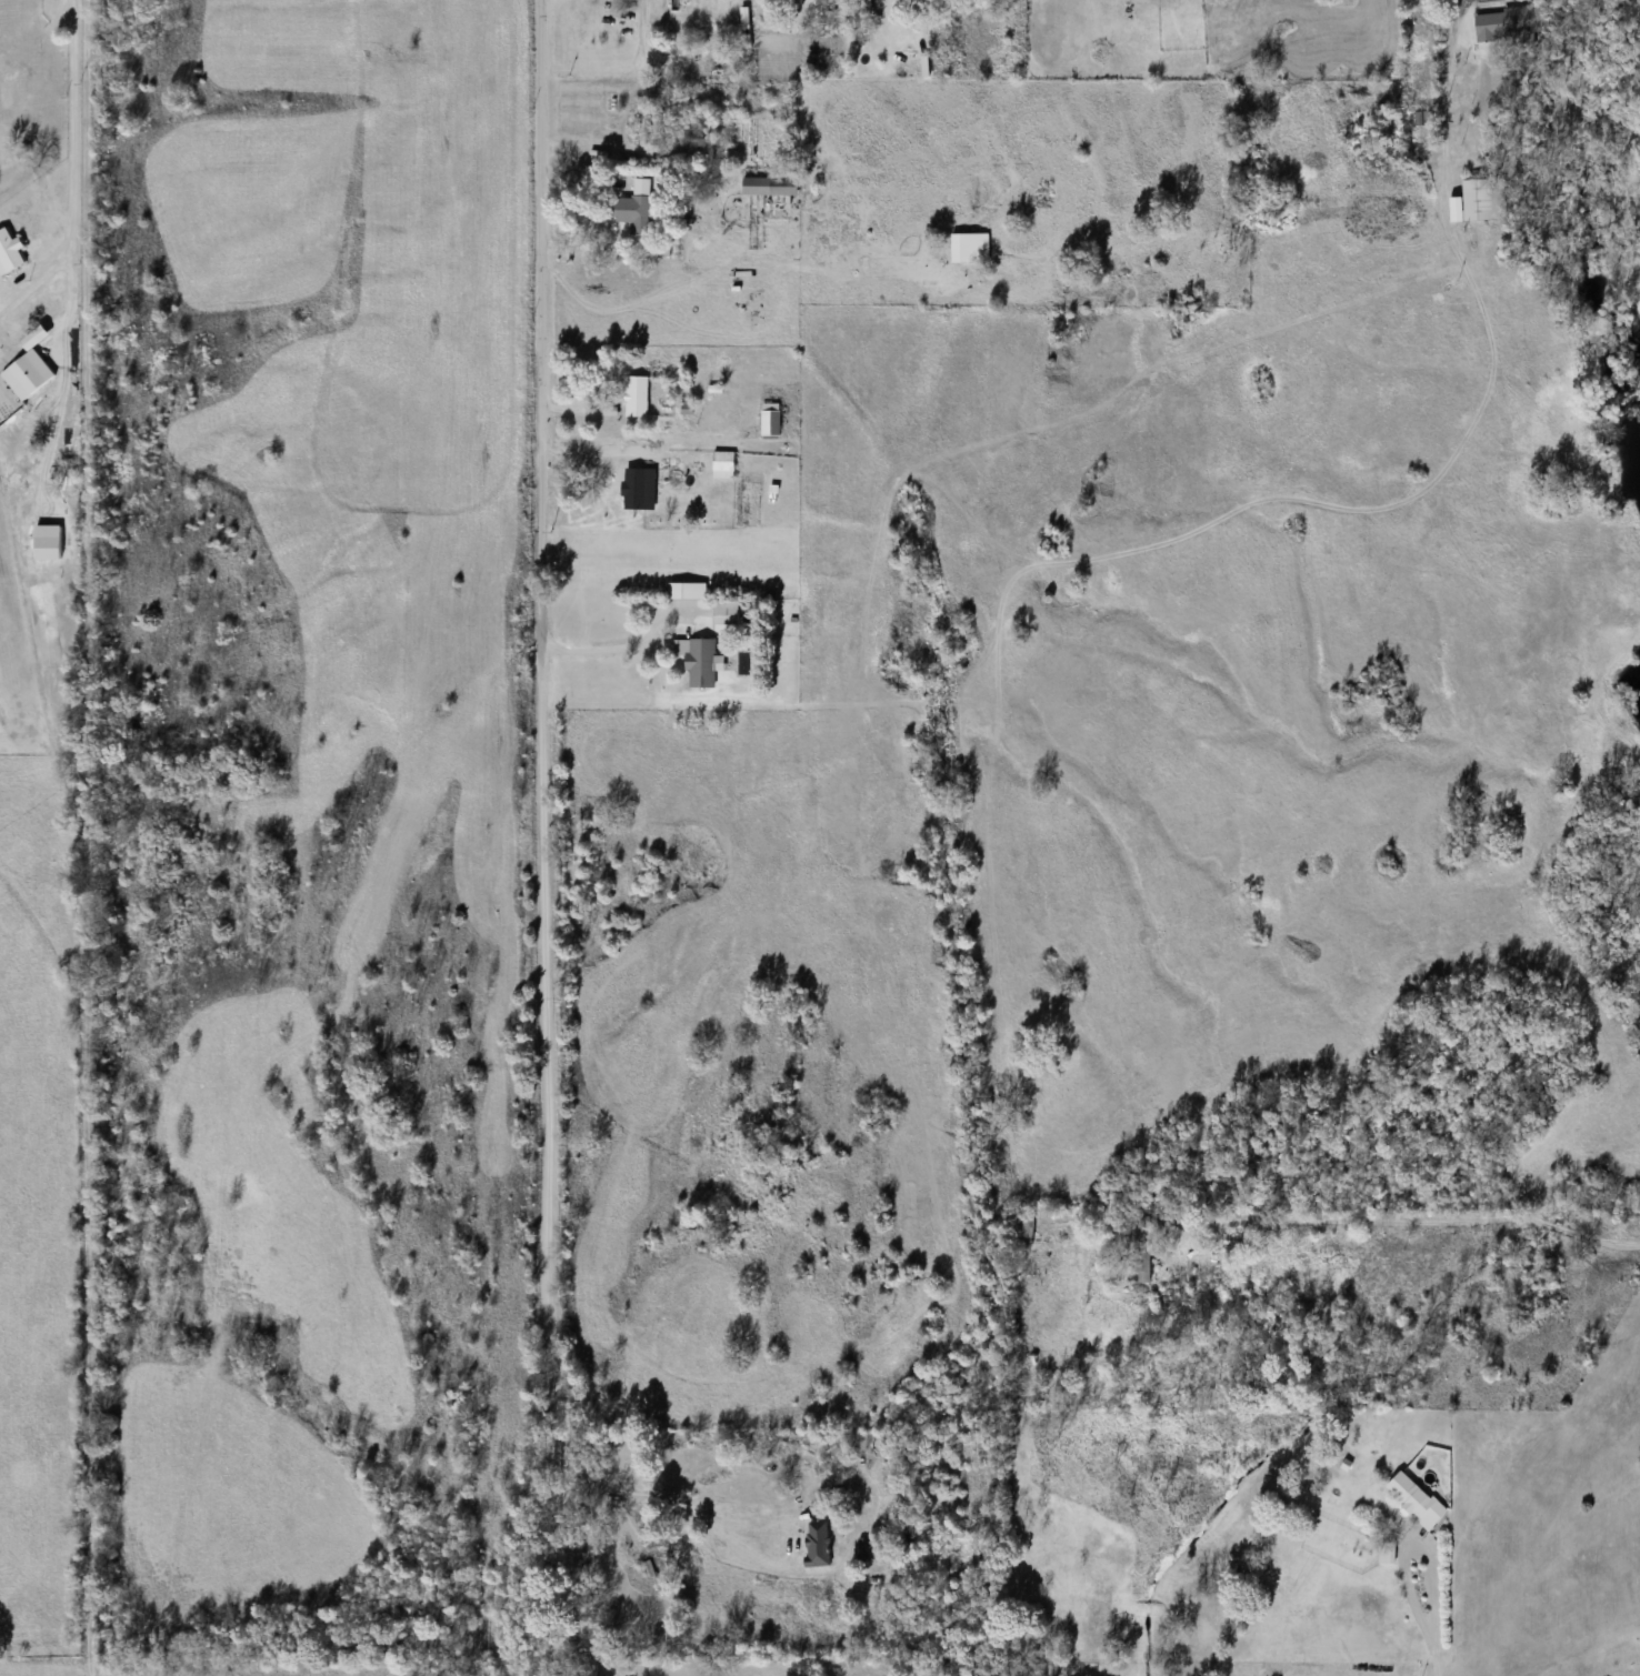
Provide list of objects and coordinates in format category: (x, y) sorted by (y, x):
building: (862, 9)
building: (1506, 24)
building: (1424, 119)
building: (699, 149)
building: (770, 185)
building: (1477, 201)
building: (637, 209)
building: (10, 253)
building: (27, 374)
building: (637, 397)
building: (770, 420)
building: (723, 464)
building: (634, 488)
building: (687, 591)
building: (726, 612)
road: (612, 651)
building: (698, 661)
road: (547, 849)
road: (1418, 1220)
building: (1026, 1225)
building: (1140, 1247)
building: (1416, 1499)
building: (817, 1544)
building: (1387, 1553)
road: (1427, 1559)
road: (561, 1564)
road: (1434, 1648)

